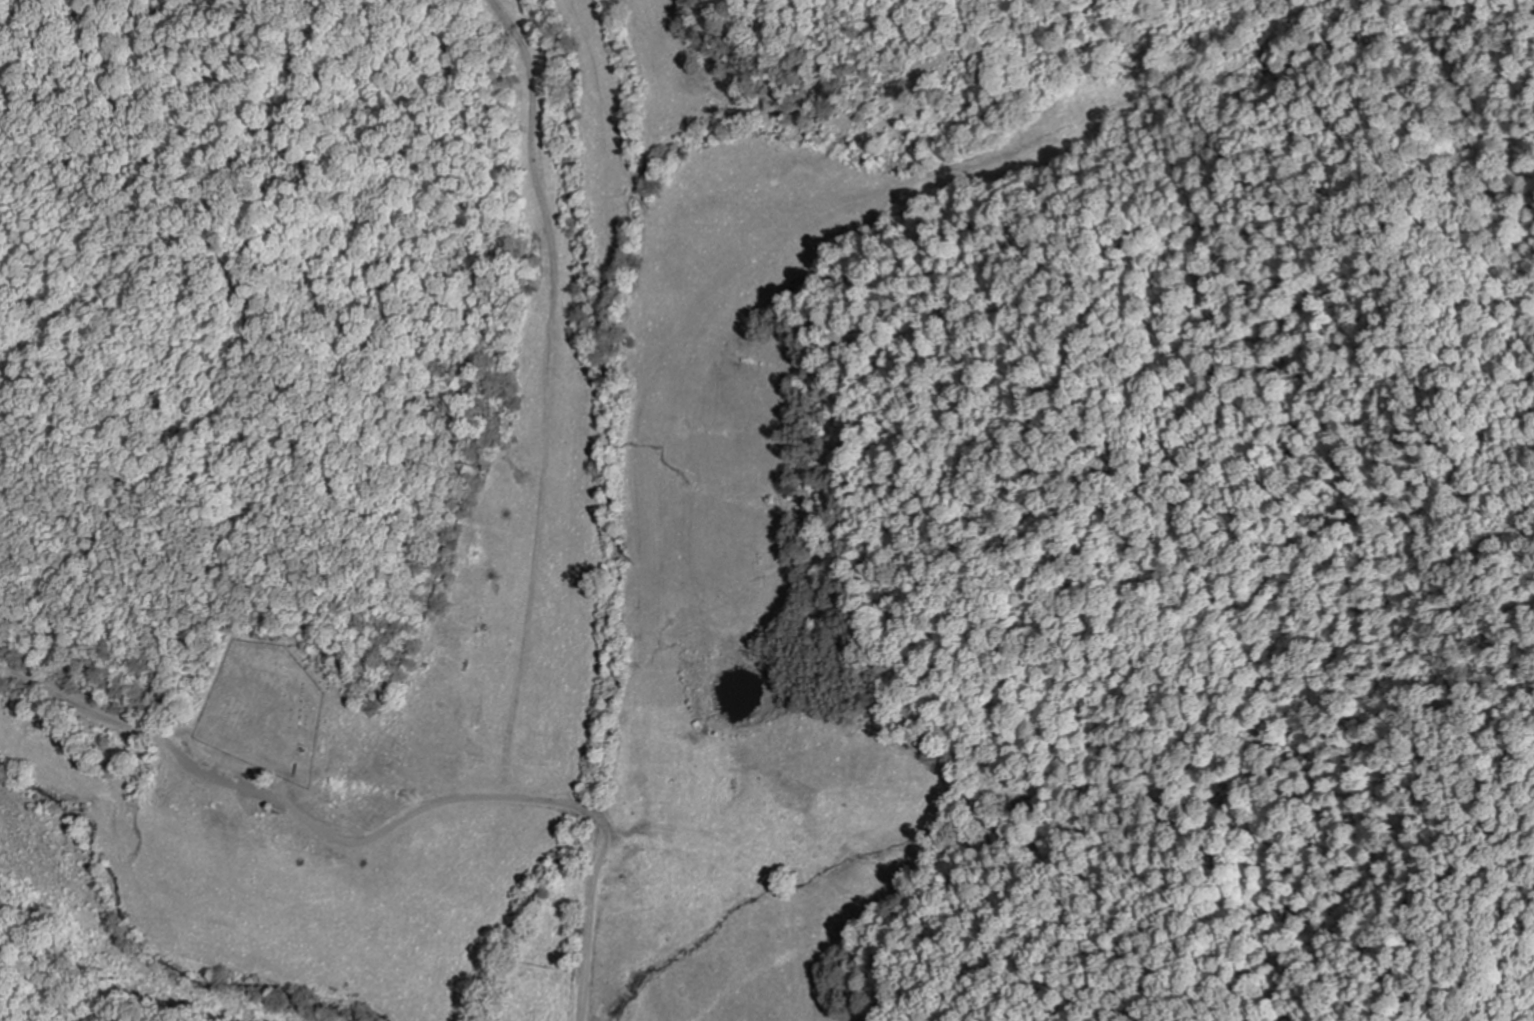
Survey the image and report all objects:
road: (506, 449)
park: (263, 710)
park: (571, 949)
road: (610, 950)

